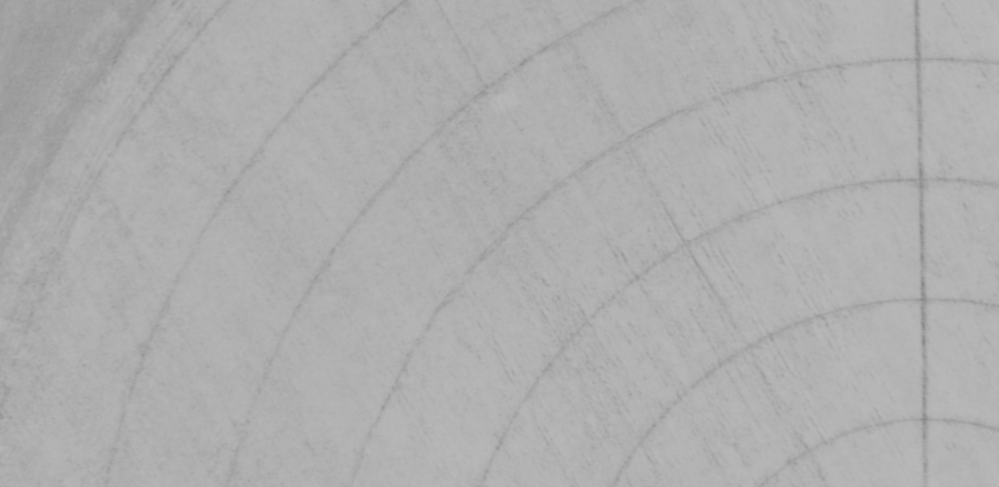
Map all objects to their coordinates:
crop: (42, 53)

